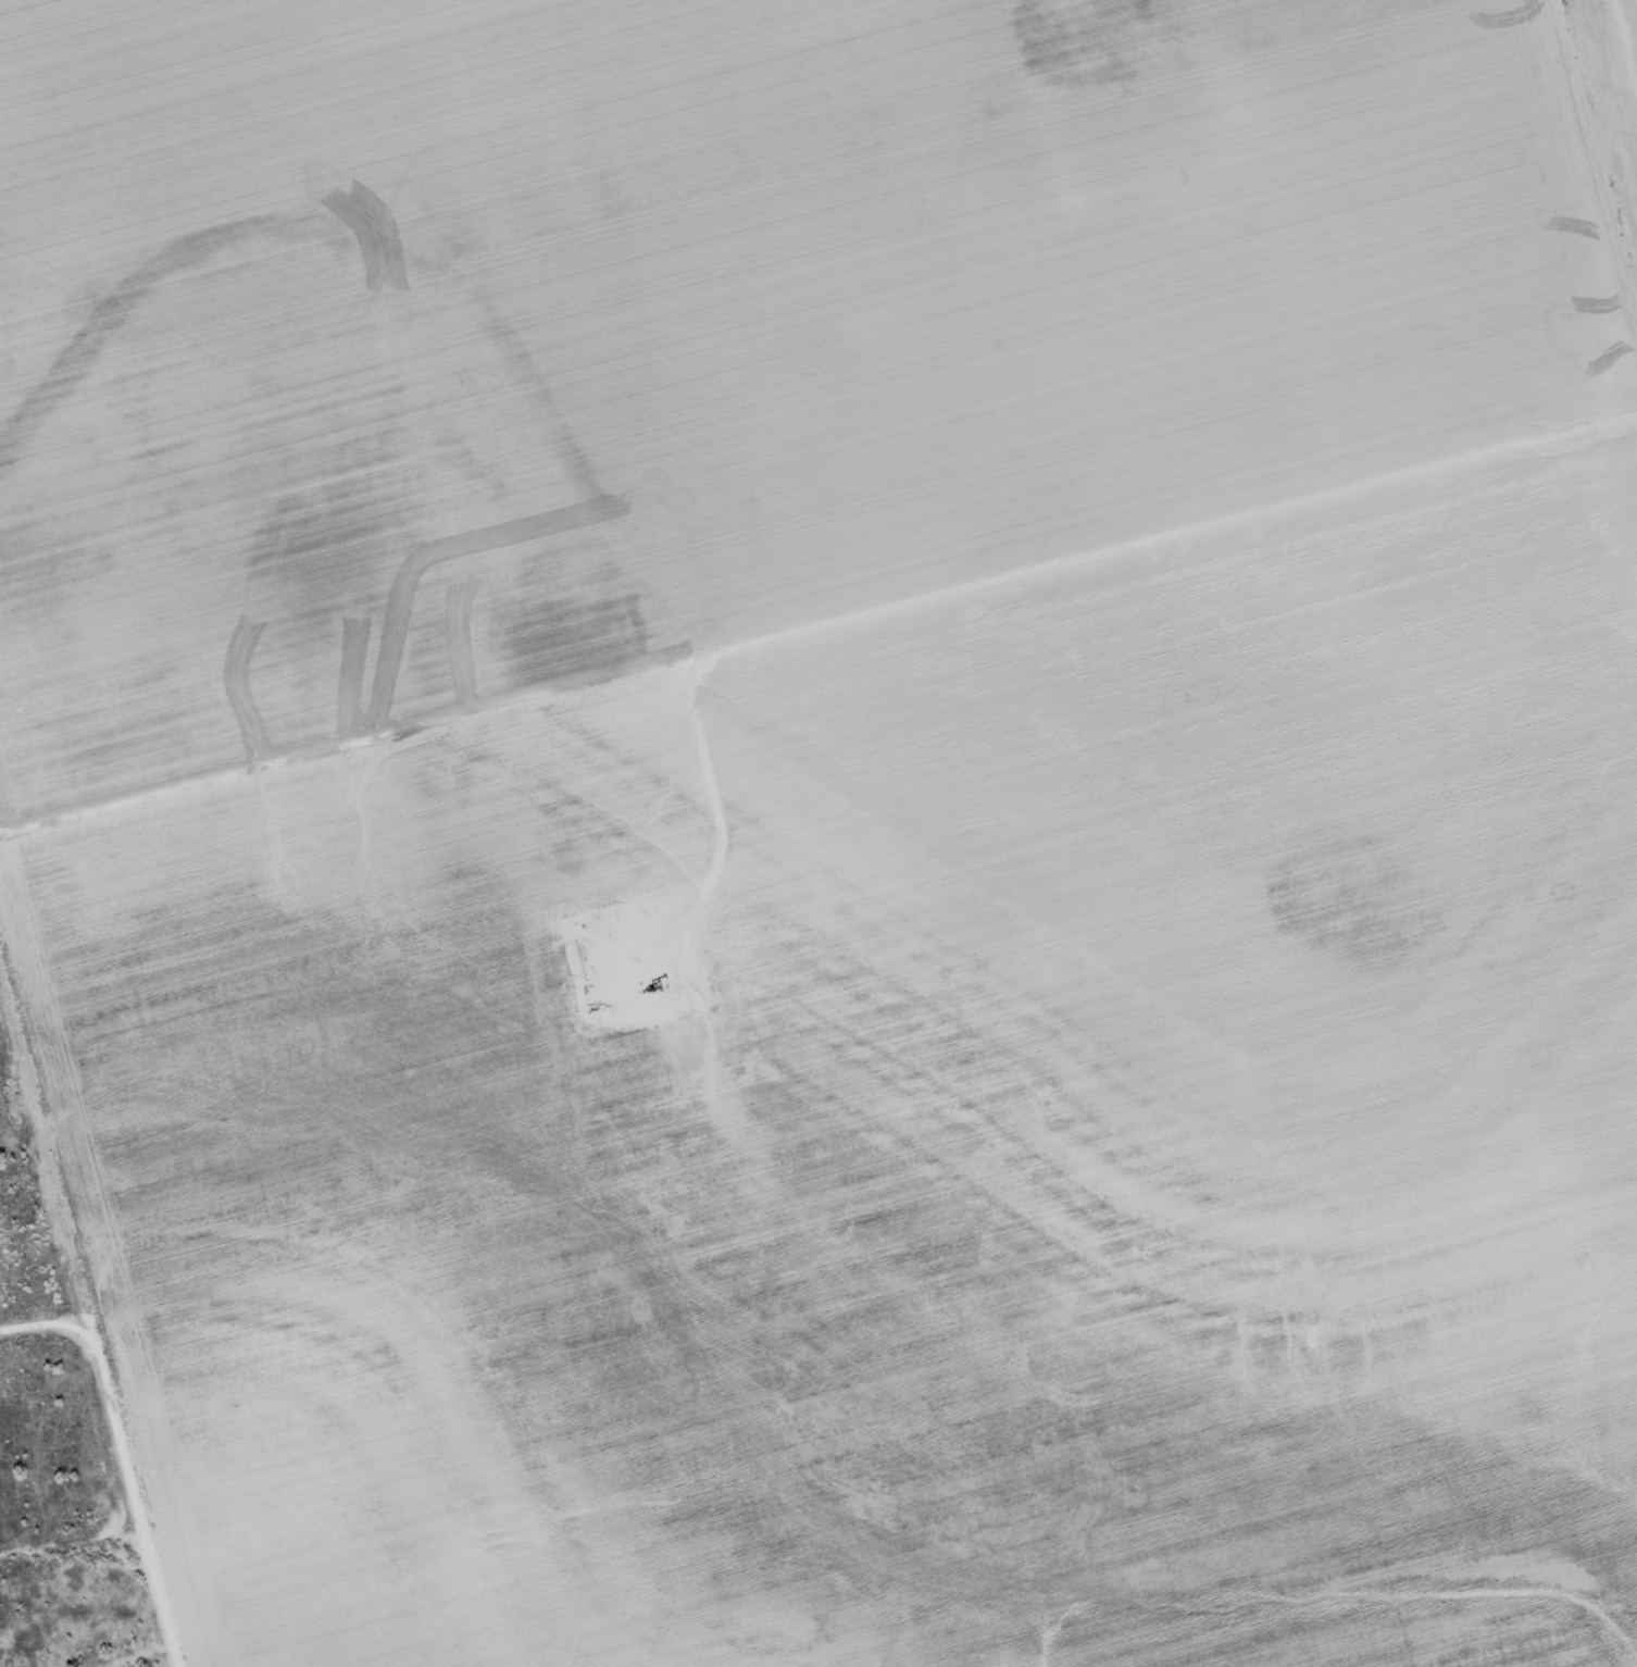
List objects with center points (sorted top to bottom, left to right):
road: (1596, 150)

